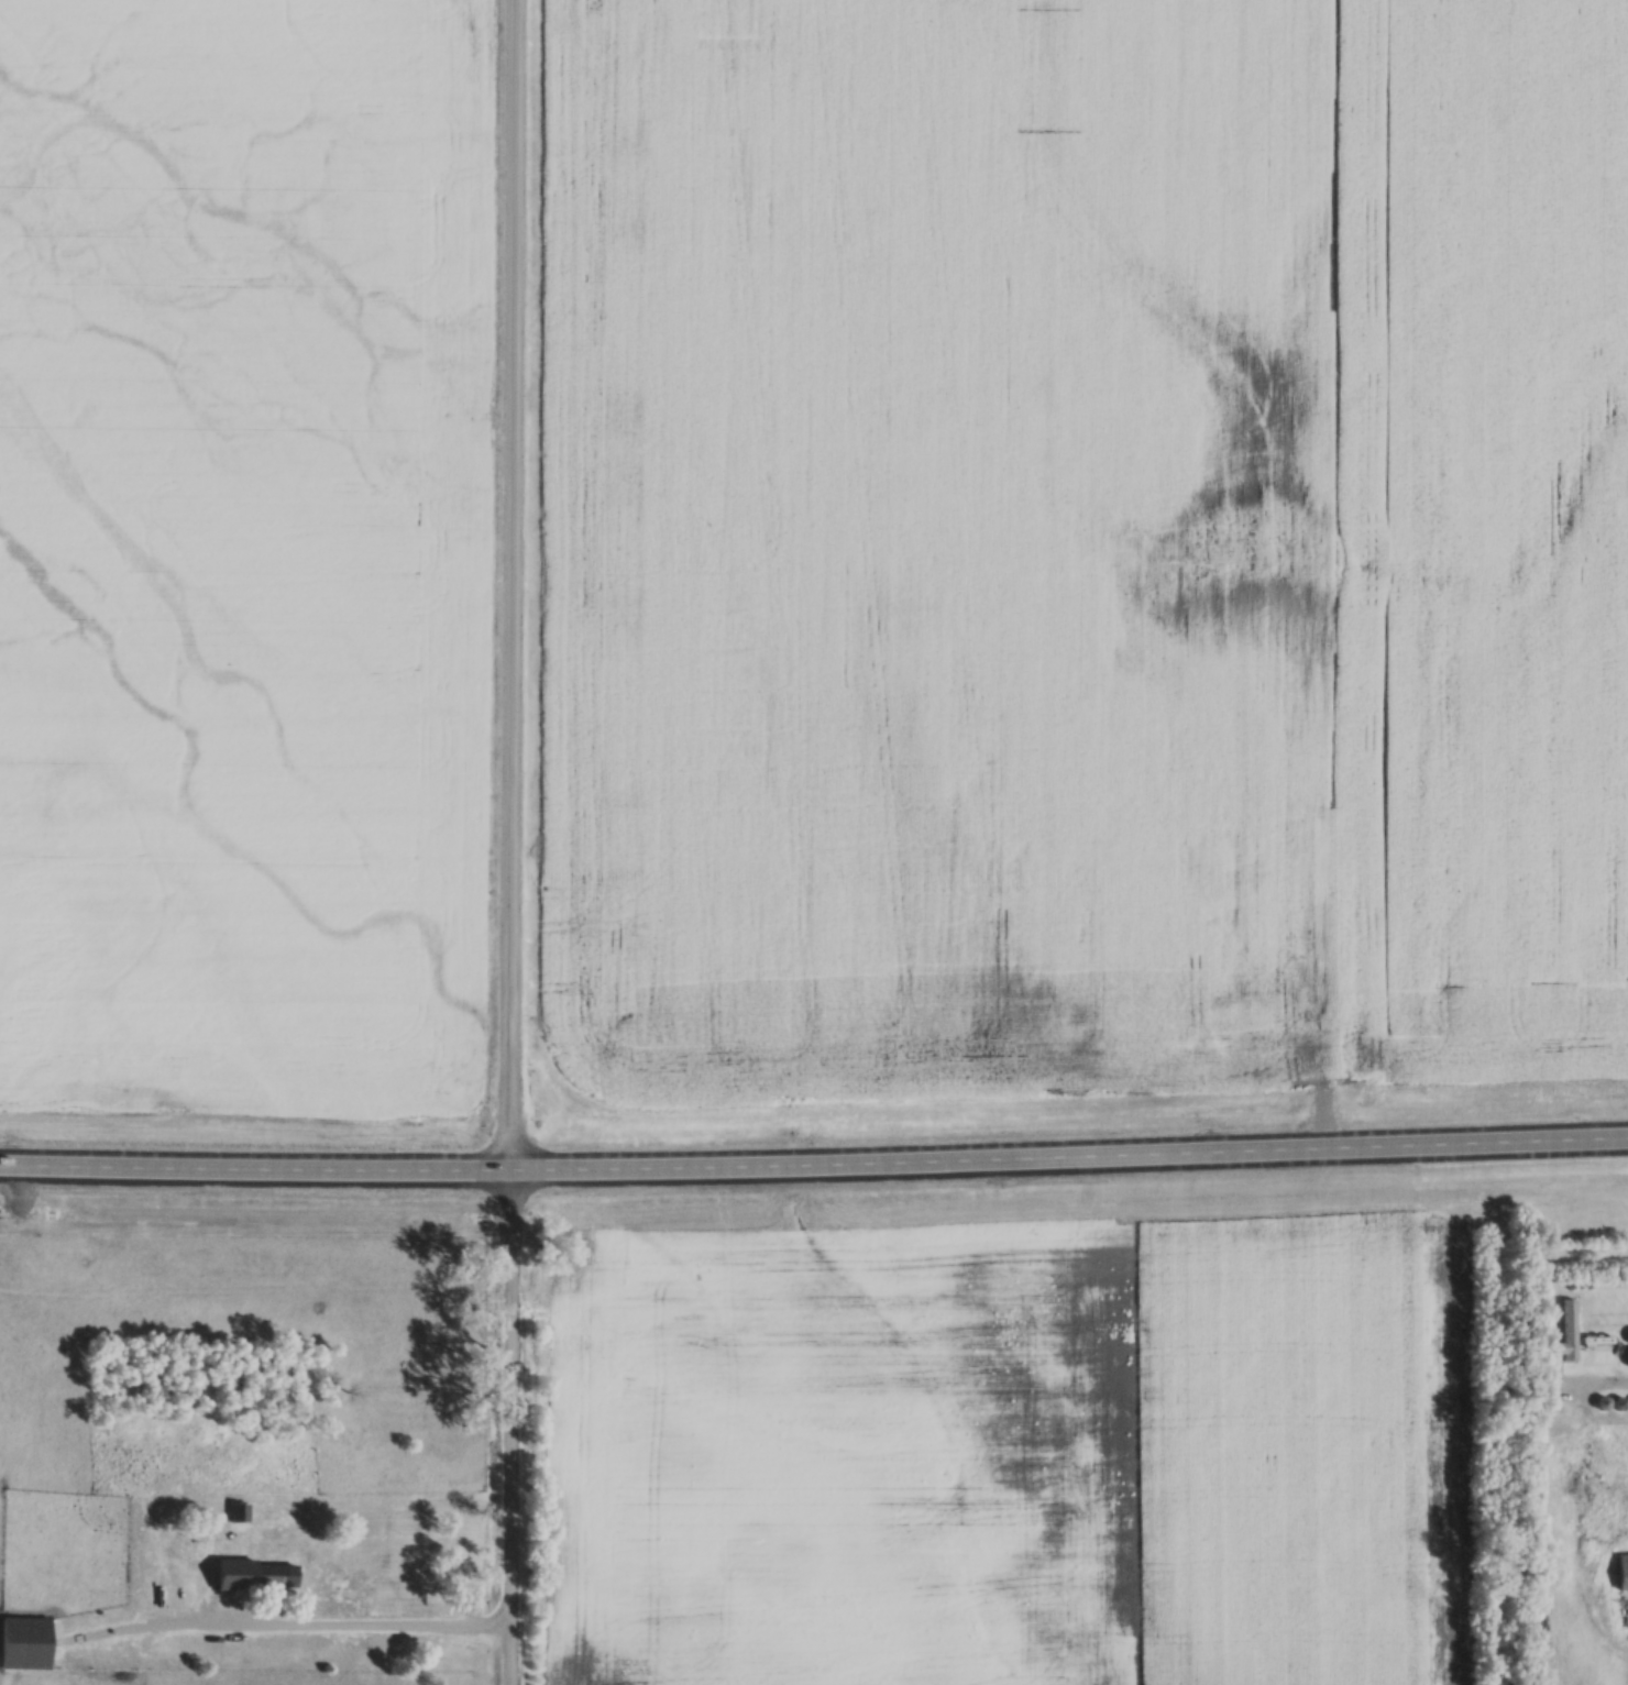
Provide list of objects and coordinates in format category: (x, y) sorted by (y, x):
road: (517, 842)
road: (814, 1170)
building: (241, 1512)
building: (1624, 1572)
building: (261, 1575)
building: (29, 1642)

